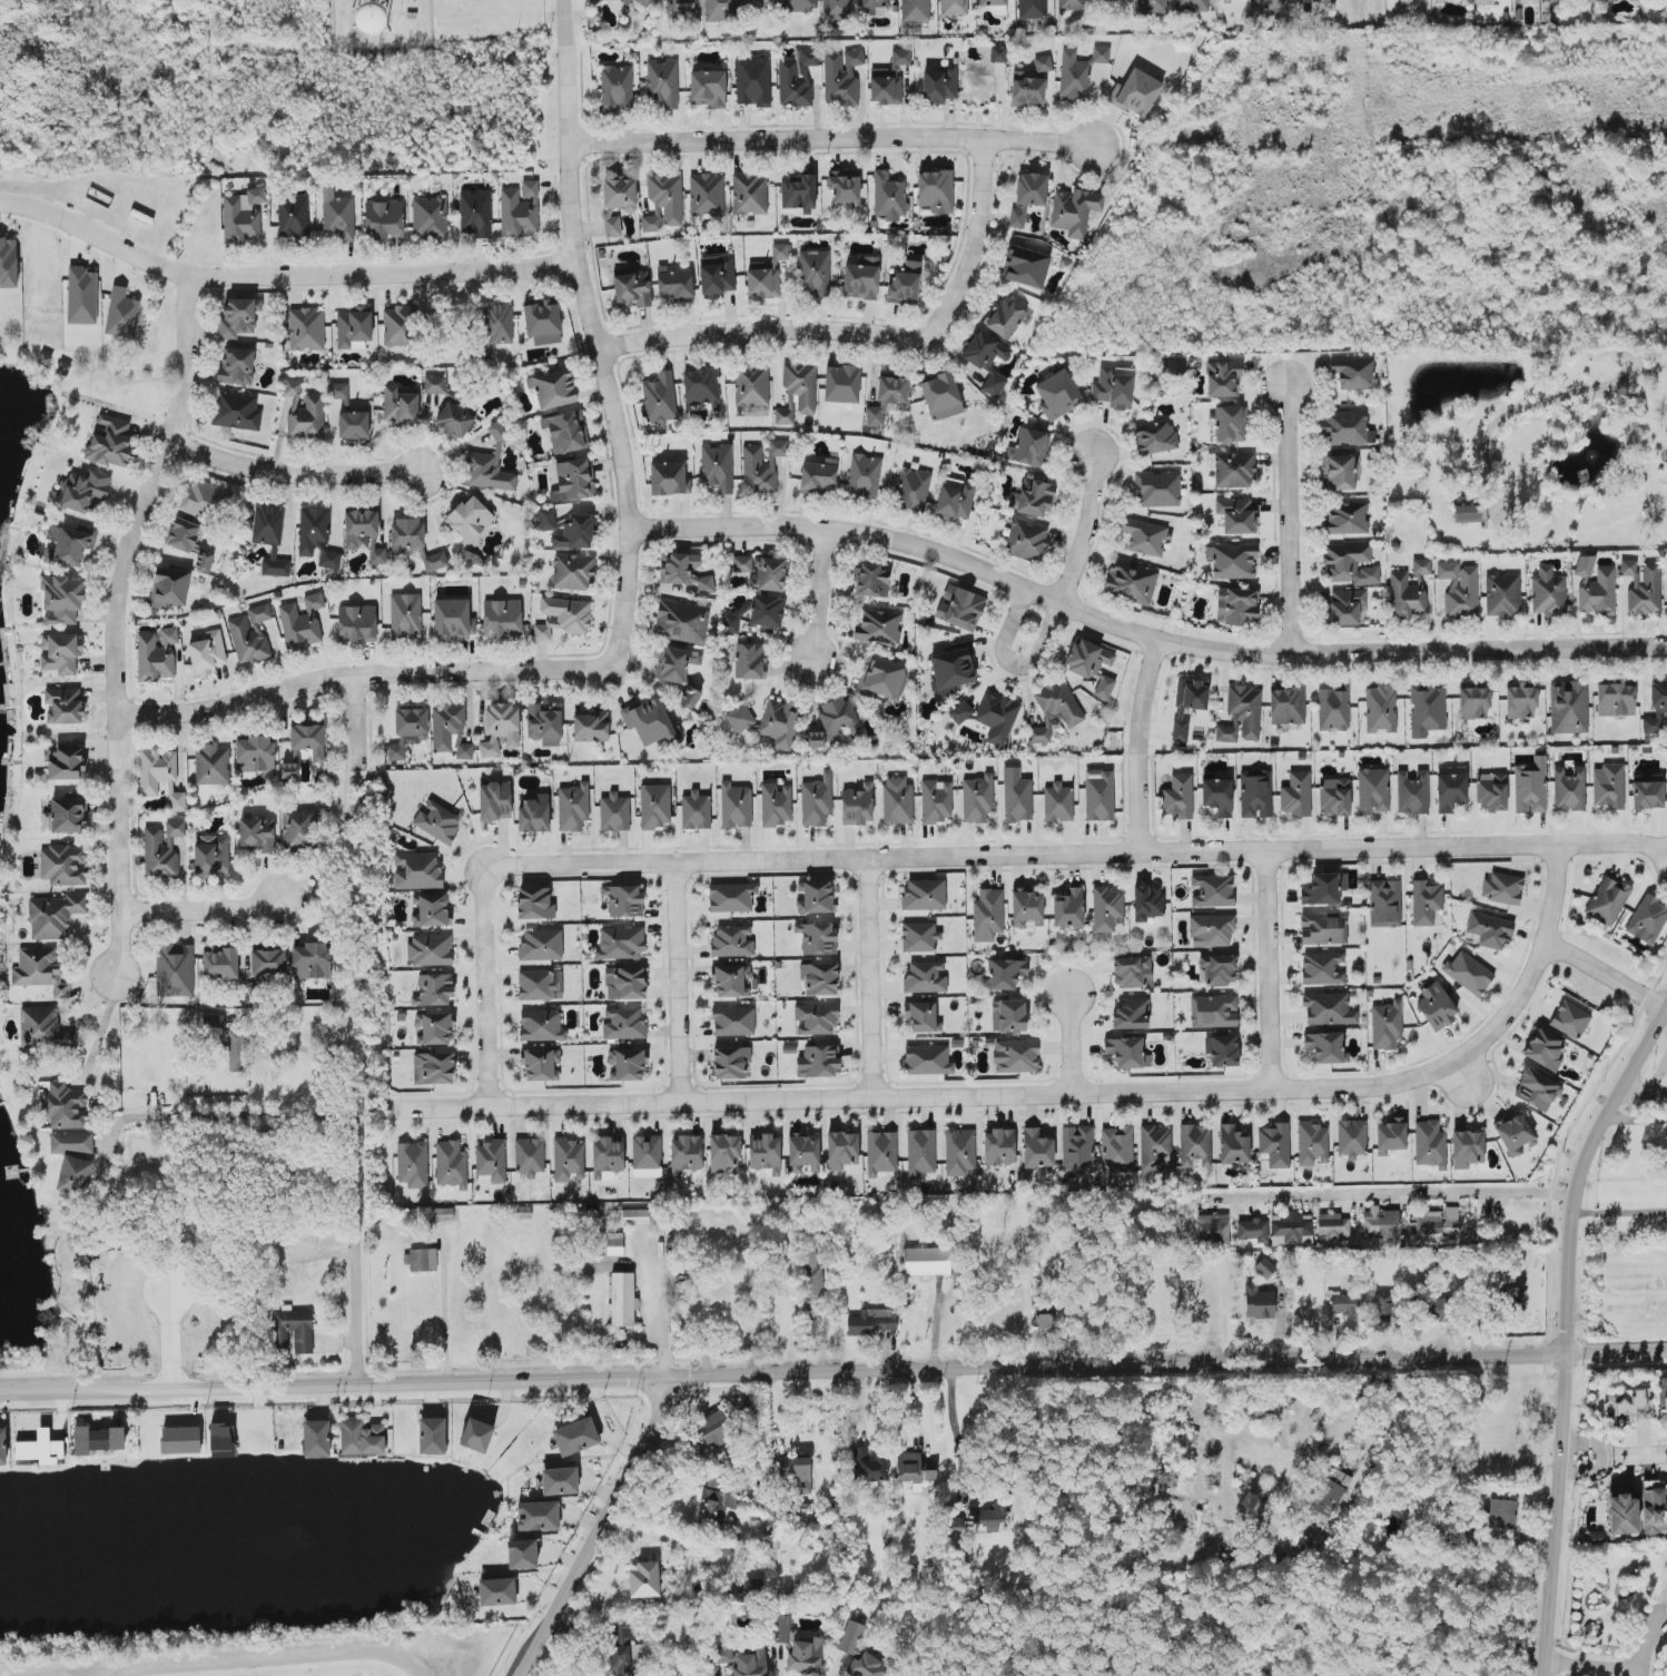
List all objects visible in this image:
building: (1112, 0)
building: (1611, 0)
building: (627, 1)
building: (1304, 1)
building: (1528, 1)
building: (644, 2)
building: (761, 2)
building: (1482, 2)
building: (800, 4)
building: (1072, 4)
building: (876, 6)
building: (995, 6)
building: (1152, 6)
building: (1191, 6)
building: (681, 7)
building: (954, 7)
building: (1269, 7)
building: (722, 9)
building: (836, 9)
building: (1032, 9)
building: (916, 10)
water tower: (364, 18)
building: (1043, 63)
building: (1078, 71)
building: (841, 77)
building: (796, 78)
building: (752, 79)
building: (983, 79)
building: (889, 80)
building: (663, 82)
building: (939, 85)
building: (617, 88)
building: (708, 88)
building: (1027, 91)
building: (1137, 92)
road: (832, 136)
building: (845, 187)
building: (798, 191)
building: (936, 193)
building: (619, 194)
building: (707, 194)
building: (750, 194)
building: (889, 196)
building: (1027, 196)
building: (663, 203)
building: (520, 210)
building: (1075, 211)
building: (475, 214)
building: (244, 216)
building: (337, 216)
building: (293, 217)
building: (431, 217)
building: (384, 220)
building: (612, 226)
road: (99, 237)
road: (978, 246)
building: (8, 262)
building: (1026, 267)
building: (815, 272)
road: (381, 273)
building: (767, 274)
building: (717, 275)
building: (861, 279)
building: (675, 284)
building: (904, 284)
building: (632, 289)
building: (82, 295)
building: (121, 314)
building: (238, 317)
building: (1006, 318)
building: (543, 322)
building: (497, 324)
building: (402, 326)
building: (354, 328)
building: (306, 329)
road: (762, 329)
road: (598, 335)
building: (986, 359)
building: (237, 366)
building: (1353, 373)
building: (1223, 378)
building: (842, 384)
building: (435, 385)
building: (751, 385)
building: (1114, 386)
building: (293, 387)
building: (702, 387)
building: (553, 390)
building: (891, 390)
building: (338, 391)
building: (797, 393)
building: (1058, 395)
building: (941, 396)
building: (660, 398)
road: (1543, 401)
building: (401, 407)
building: (237, 411)
building: (876, 415)
building: (306, 417)
building: (454, 421)
building: (1231, 423)
building: (354, 425)
building: (1348, 427)
building: (500, 431)
building: (566, 432)
building: (1155, 437)
building: (110, 442)
building: (778, 447)
building: (1032, 447)
building: (718, 467)
building: (1234, 470)
building: (758, 471)
road: (290, 472)
building: (487, 472)
building: (1341, 472)
building: (819, 476)
building: (864, 476)
building: (669, 479)
building: (572, 480)
building: (1157, 489)
building: (914, 490)
building: (85, 491)
building: (1033, 497)
building: (955, 499)
building: (206, 500)
building: (1467, 510)
building: (1237, 515)
building: (1347, 517)
building: (470, 519)
road: (1292, 521)
building: (313, 529)
building: (566, 529)
road: (1086, 531)
building: (52, 533)
building: (364, 534)
building: (183, 535)
building: (1144, 536)
building: (270, 539)
building: (1027, 540)
building: (414, 543)
building: (70, 548)
building: (328, 556)
building: (1232, 560)
building: (742, 563)
building: (1350, 563)
building: (1421, 566)
building: (573, 572)
building: (683, 572)
building: (768, 574)
building: (871, 581)
building: (1131, 581)
building: (171, 588)
building: (1595, 588)
building: (1643, 588)
building: (1460, 590)
building: (1548, 593)
road: (821, 594)
building: (1502, 595)
building: (1407, 598)
building: (62, 599)
building: (1237, 607)
building: (1348, 607)
building: (961, 610)
building: (767, 611)
building: (562, 617)
building: (406, 618)
building: (453, 619)
building: (502, 619)
building: (303, 622)
building: (682, 622)
building: (357, 623)
building: (731, 623)
building: (879, 627)
road: (112, 628)
road: (1141, 633)
building: (250, 634)
building: (208, 652)
building: (61, 653)
building: (157, 654)
building: (1088, 658)
building: (750, 661)
building: (675, 664)
road: (1014, 664)
building: (951, 670)
road: (362, 674)
building: (882, 678)
building: (1104, 687)
building: (691, 696)
building: (1615, 698)
building: (1521, 701)
building: (1473, 702)
building: (63, 706)
building: (1187, 706)
building: (1286, 706)
building: (1333, 708)
building: (1569, 708)
building: (1427, 709)
building: (1055, 710)
building: (1380, 710)
building: (1657, 710)
building: (1242, 714)
building: (992, 717)
road: (353, 718)
building: (740, 719)
building: (649, 721)
building: (781, 722)
building: (833, 722)
building: (544, 723)
building: (500, 728)
building: (408, 731)
building: (450, 731)
building: (308, 740)
road: (1141, 746)
building: (255, 753)
building: (66, 762)
building: (213, 765)
building: (289, 770)
building: (159, 776)
building: (40, 778)
building: (1530, 786)
building: (1608, 786)
building: (1569, 789)
building: (1372, 790)
building: (1450, 791)
building: (1647, 791)
building: (1412, 792)
building: (1491, 792)
building: (1255, 793)
building: (1098, 795)
building: (1296, 795)
building: (1017, 796)
building: (1217, 796)
building: (1178, 797)
building: (1335, 797)
building: (977, 799)
building: (817, 800)
building: (898, 800)
building: (495, 801)
building: (937, 801)
building: (1058, 802)
building: (776, 804)
building: (655, 806)
building: (736, 806)
building: (857, 806)
building: (573, 807)
building: (696, 810)
building: (533, 812)
building: (614, 812)
building: (66, 816)
building: (437, 821)
building: (298, 829)
building: (257, 835)
building: (162, 849)
road: (1074, 854)
building: (213, 856)
building: (63, 865)
building: (417, 870)
building: (1502, 888)
building: (1324, 889)
building: (1212, 890)
building: (924, 895)
building: (731, 897)
building: (816, 897)
building: (624, 900)
building: (1147, 901)
building: (1426, 901)
building: (1607, 901)
building: (536, 903)
building: (1384, 903)
building: (1027, 907)
building: (1069, 908)
building: (1106, 908)
road: (199, 910)
building: (430, 910)
building: (988, 915)
building: (55, 916)
building: (1647, 919)
building: (1323, 928)
building: (1212, 930)
building: (1490, 930)
building: (920, 937)
building: (817, 938)
building: (731, 941)
building: (620, 943)
building: (541, 945)
building: (431, 949)
building: (310, 960)
building: (268, 963)
building: (220, 964)
building: (1323, 968)
building: (39, 969)
building: (175, 969)
building: (1131, 970)
building: (1216, 970)
road: (1270, 972)
building: (1468, 973)
building: (1005, 974)
road: (1607, 974)
building: (925, 977)
building: (819, 978)
road: (871, 979)
building: (732, 982)
building: (627, 983)
road: (680, 983)
building: (536, 985)
road: (482, 987)
building: (433, 989)
building: (1437, 1007)
building: (1329, 1009)
building: (1213, 1010)
building: (1132, 1014)
building: (1008, 1015)
building: (923, 1016)
building: (816, 1019)
building: (1570, 1019)
building: (733, 1021)
building: (623, 1024)
building: (541, 1025)
building: (1387, 1025)
building: (433, 1028)
building: (45, 1029)
road: (101, 1029)
building: (236, 1042)
road: (1071, 1043)
building: (1324, 1046)
building: (1543, 1049)
building: (1224, 1051)
road: (1646, 1051)
building: (1127, 1052)
building: (1016, 1056)
building: (928, 1059)
building: (820, 1061)
building: (731, 1063)
building: (541, 1064)
building: (627, 1064)
building: (434, 1067)
building: (1536, 1090)
road: (1645, 1093)
road: (1056, 1094)
building: (65, 1106)
road: (217, 1114)
road: (353, 1116)
building: (1516, 1134)
building: (1391, 1136)
building: (1351, 1138)
building: (71, 1143)
building: (1312, 1144)
building: (1430, 1144)
building: (1233, 1145)
building: (1275, 1145)
building: (1195, 1146)
building: (999, 1147)
building: (1037, 1148)
building: (1155, 1148)
building: (1467, 1148)
building: (842, 1150)
building: (1077, 1150)
building: (1116, 1150)
building: (723, 1152)
building: (881, 1152)
building: (920, 1152)
building: (959, 1152)
building: (765, 1153)
building: (802, 1153)
building: (685, 1154)
building: (530, 1156)
building: (647, 1156)
building: (606, 1157)
building: (568, 1160)
building: (491, 1161)
building: (413, 1164)
building: (451, 1164)
building: (75, 1176)
road: (1389, 1191)
road: (1620, 1206)
building: (443, 1214)
building: (633, 1217)
building: (1433, 1221)
building: (1381, 1223)
building: (1332, 1226)
building: (1291, 1228)
building: (1212, 1229)
building: (1253, 1230)
building: (614, 1244)
building: (421, 1260)
building: (926, 1261)
building: (1265, 1268)
building: (812, 1274)
building: (623, 1299)
building: (1259, 1302)
building: (1344, 1303)
building: (1382, 1305)
road: (1548, 1308)
building: (1438, 1309)
road: (358, 1311)
building: (874, 1321)
road: (444, 1322)
building: (1043, 1322)
building: (293, 1331)
road: (833, 1371)
road: (1565, 1377)
building: (1663, 1402)
building: (1633, 1404)
road: (954, 1426)
building: (714, 1429)
building: (432, 1436)
building: (476, 1436)
building: (575, 1437)
building: (362, 1438)
building: (98, 1439)
building: (316, 1439)
building: (179, 1440)
building: (221, 1440)
building: (3, 1446)
building: (41, 1448)
road: (1636, 1455)
building: (1269, 1457)
road: (1604, 1457)
building: (868, 1468)
building: (913, 1470)
building: (796, 1472)
building: (560, 1481)
building: (1326, 1497)
building: (718, 1498)
building: (1654, 1507)
building: (1621, 1512)
building: (1501, 1514)
building: (537, 1516)
building: (988, 1520)
road: (595, 1525)
building: (522, 1554)
building: (644, 1580)
building: (496, 1591)
building: (783, 1628)
park: (1250, 1629)
building: (852, 1637)
road: (1653, 1642)
building: (624, 1649)
building: (806, 1656)
track: (269, 1660)
building: (743, 1662)
road: (1594, 1667)
road: (1639, 1674)

